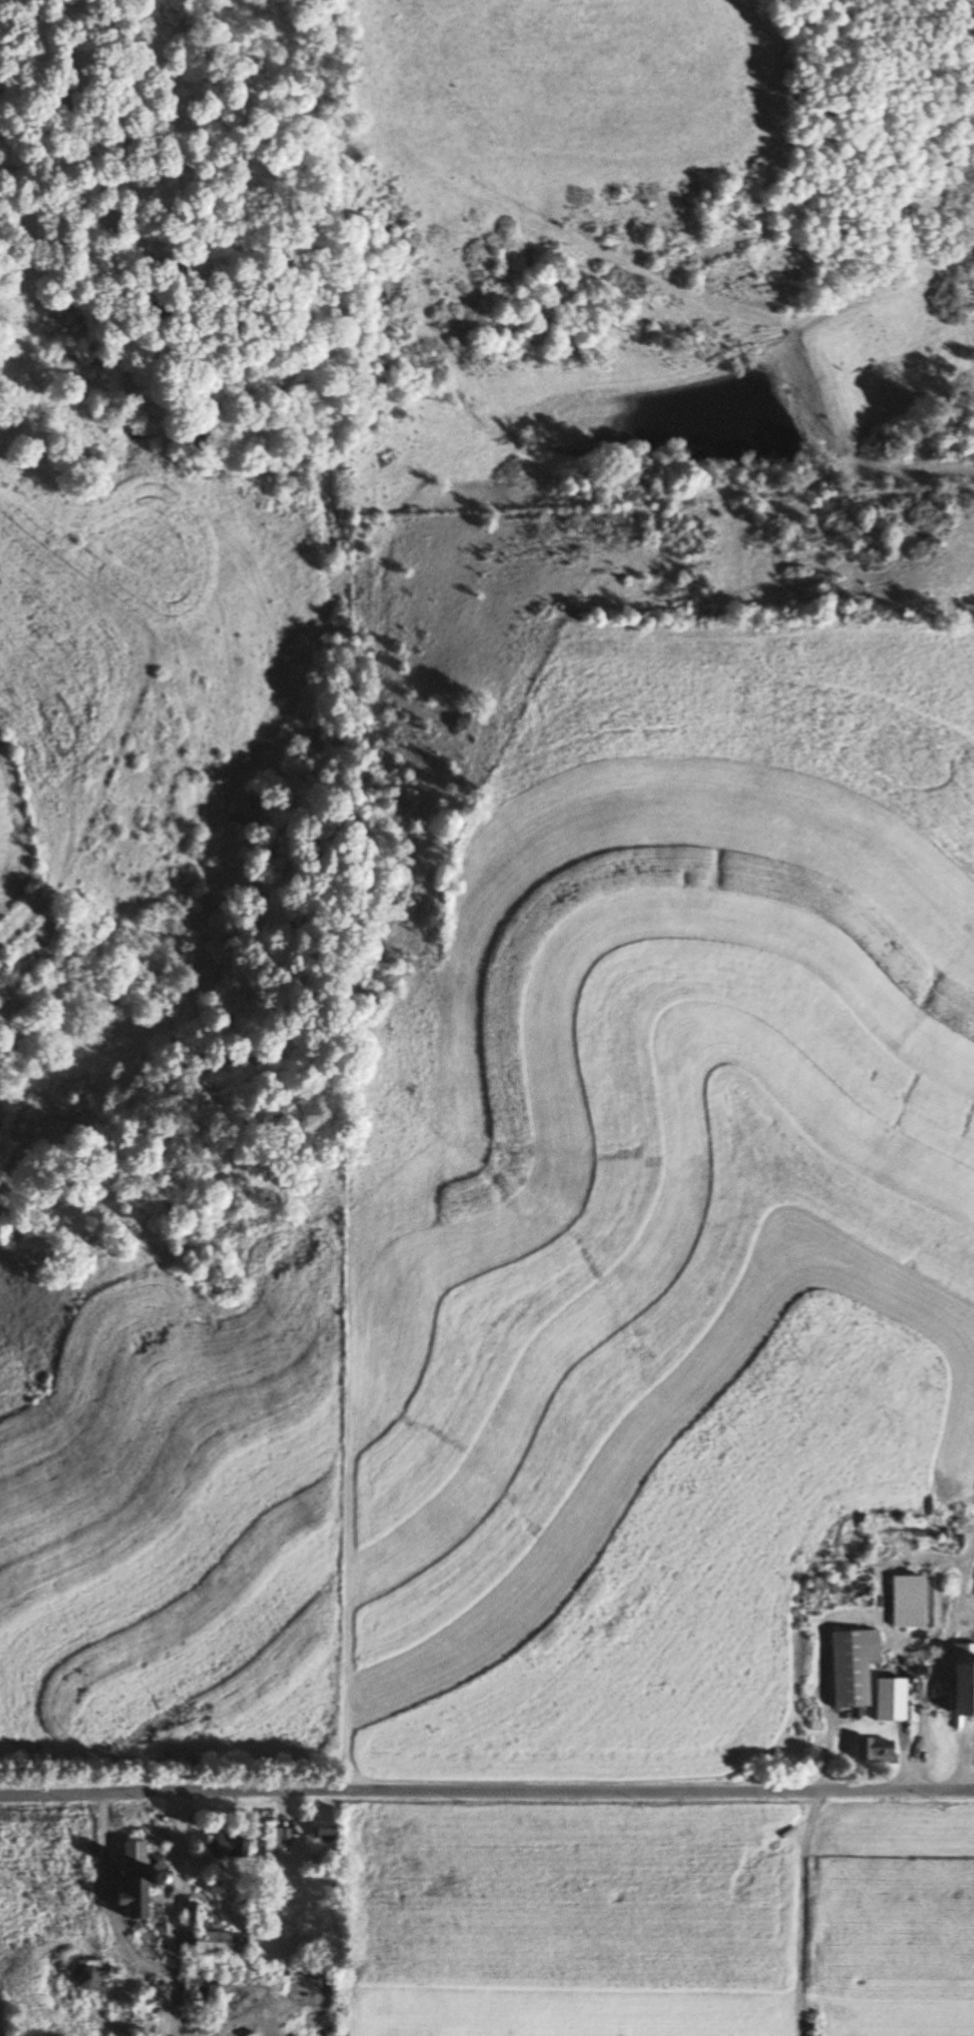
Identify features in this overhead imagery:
crop: (571, 91)
crop: (762, 711)
crop: (10, 833)
crop: (645, 1272)
crop: (180, 1520)
building: (903, 1601)
building: (848, 1665)
building: (961, 1679)
building: (885, 1698)
building: (869, 1749)
road: (486, 1788)
building: (321, 1831)
building: (271, 1842)
building: (224, 1845)
crop: (47, 1874)
building: (129, 1881)
road: (176, 1910)
building: (191, 1911)
crop: (884, 1912)
crop: (574, 1920)
building: (217, 1942)
building: (86, 1977)
building: (194, 1994)

